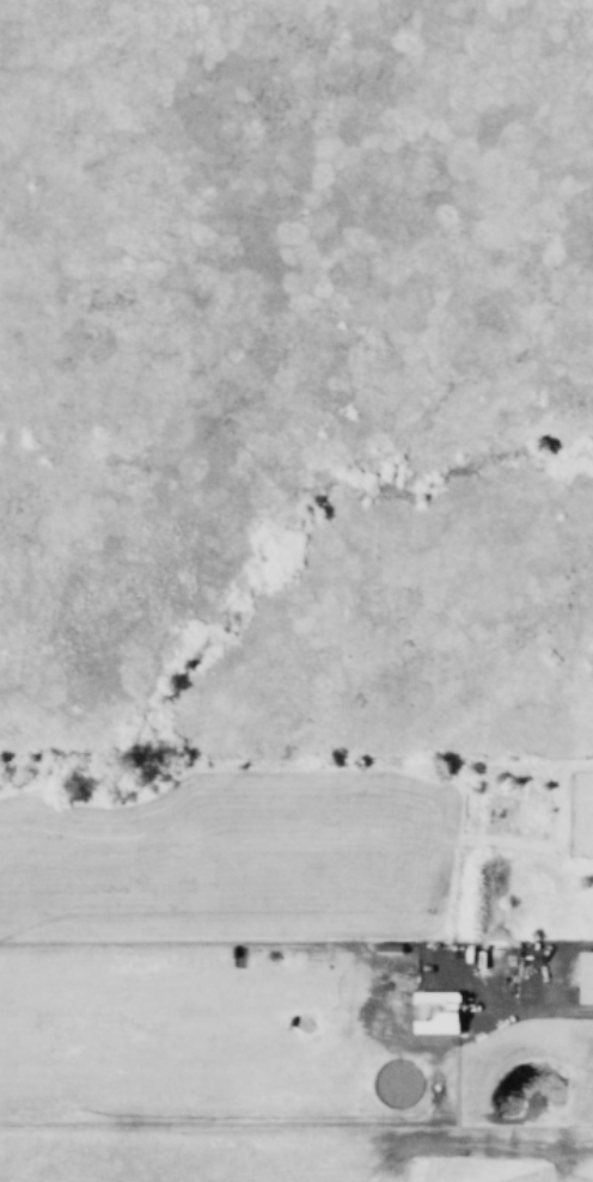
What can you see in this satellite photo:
building: (583, 974)

